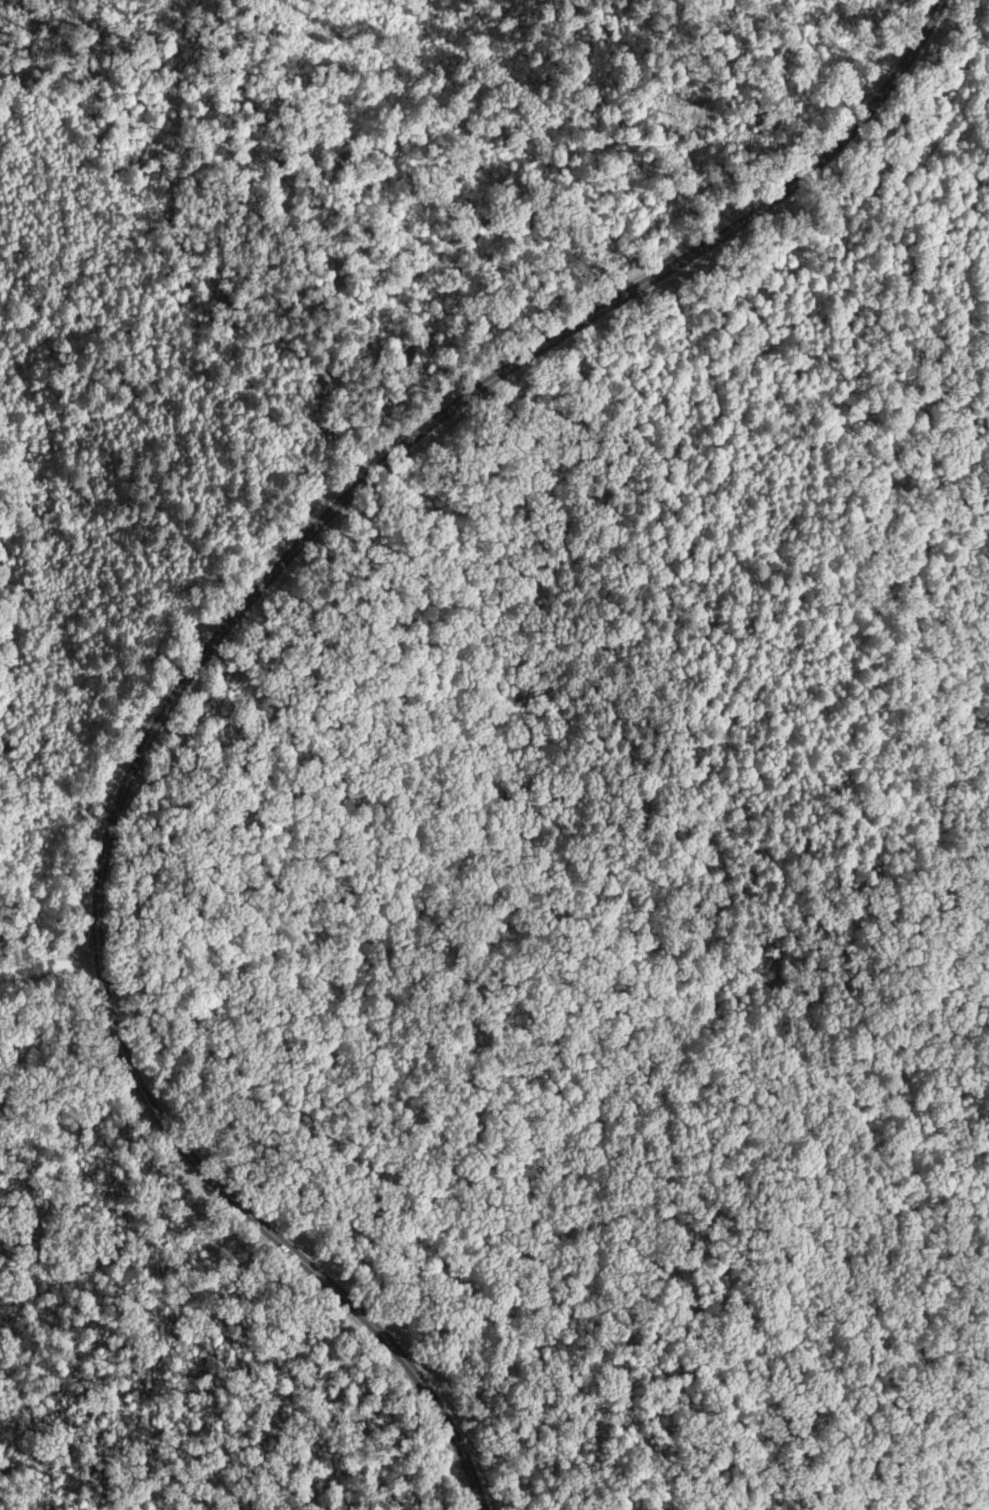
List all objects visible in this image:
road: (193, 660)
road: (46, 957)

